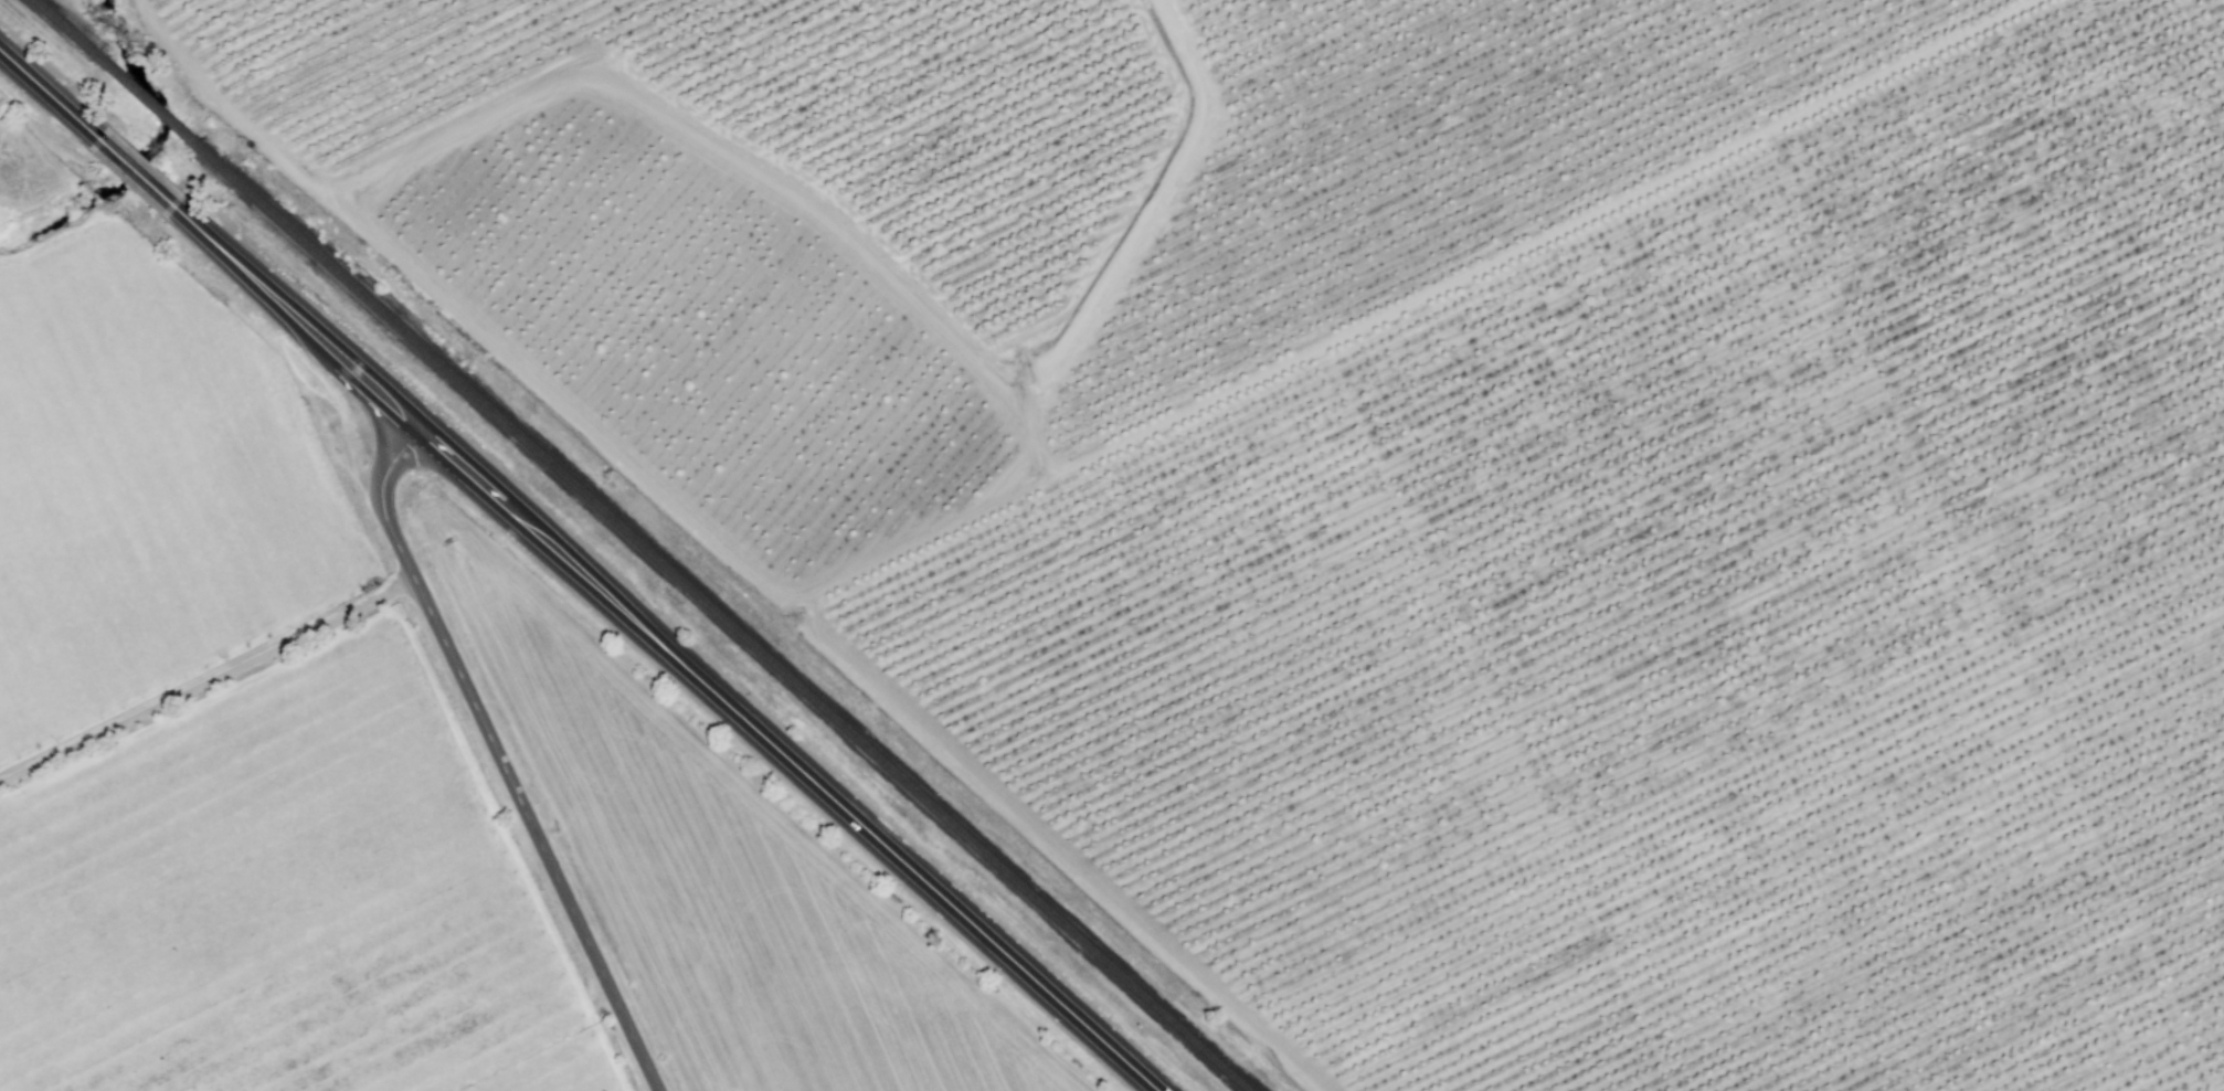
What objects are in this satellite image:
railway: (67, 27)
road: (52, 96)
railway: (150, 102)
road: (138, 174)
road: (296, 318)
railway: (724, 619)
road: (206, 682)
road: (498, 758)
road: (787, 760)

